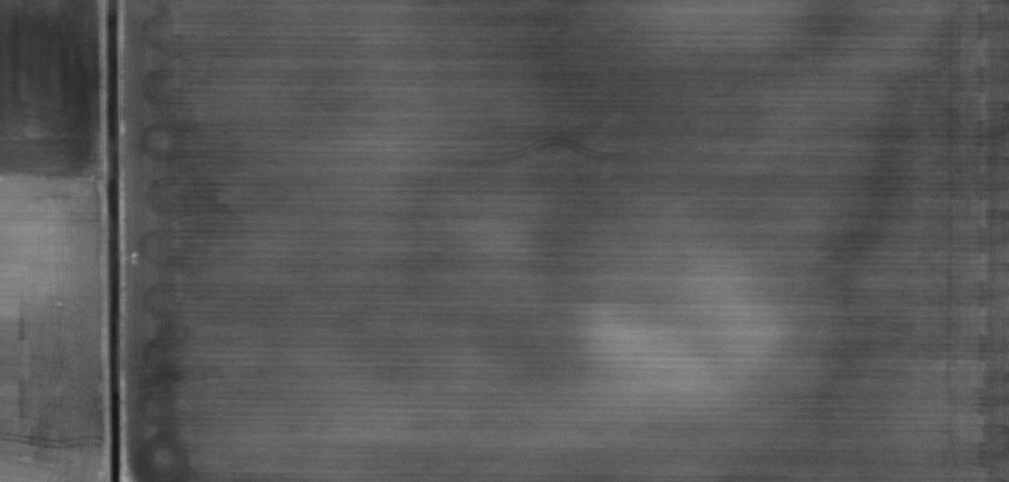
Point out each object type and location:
crop: (564, 240)
road: (110, 241)
crop: (55, 242)

